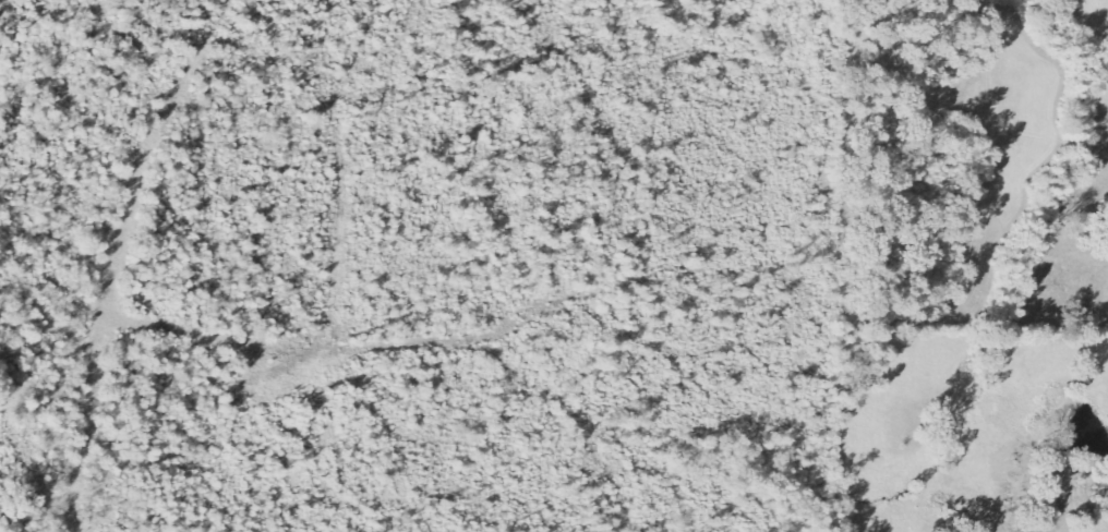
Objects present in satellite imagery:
road: (556, 475)
road: (733, 499)

